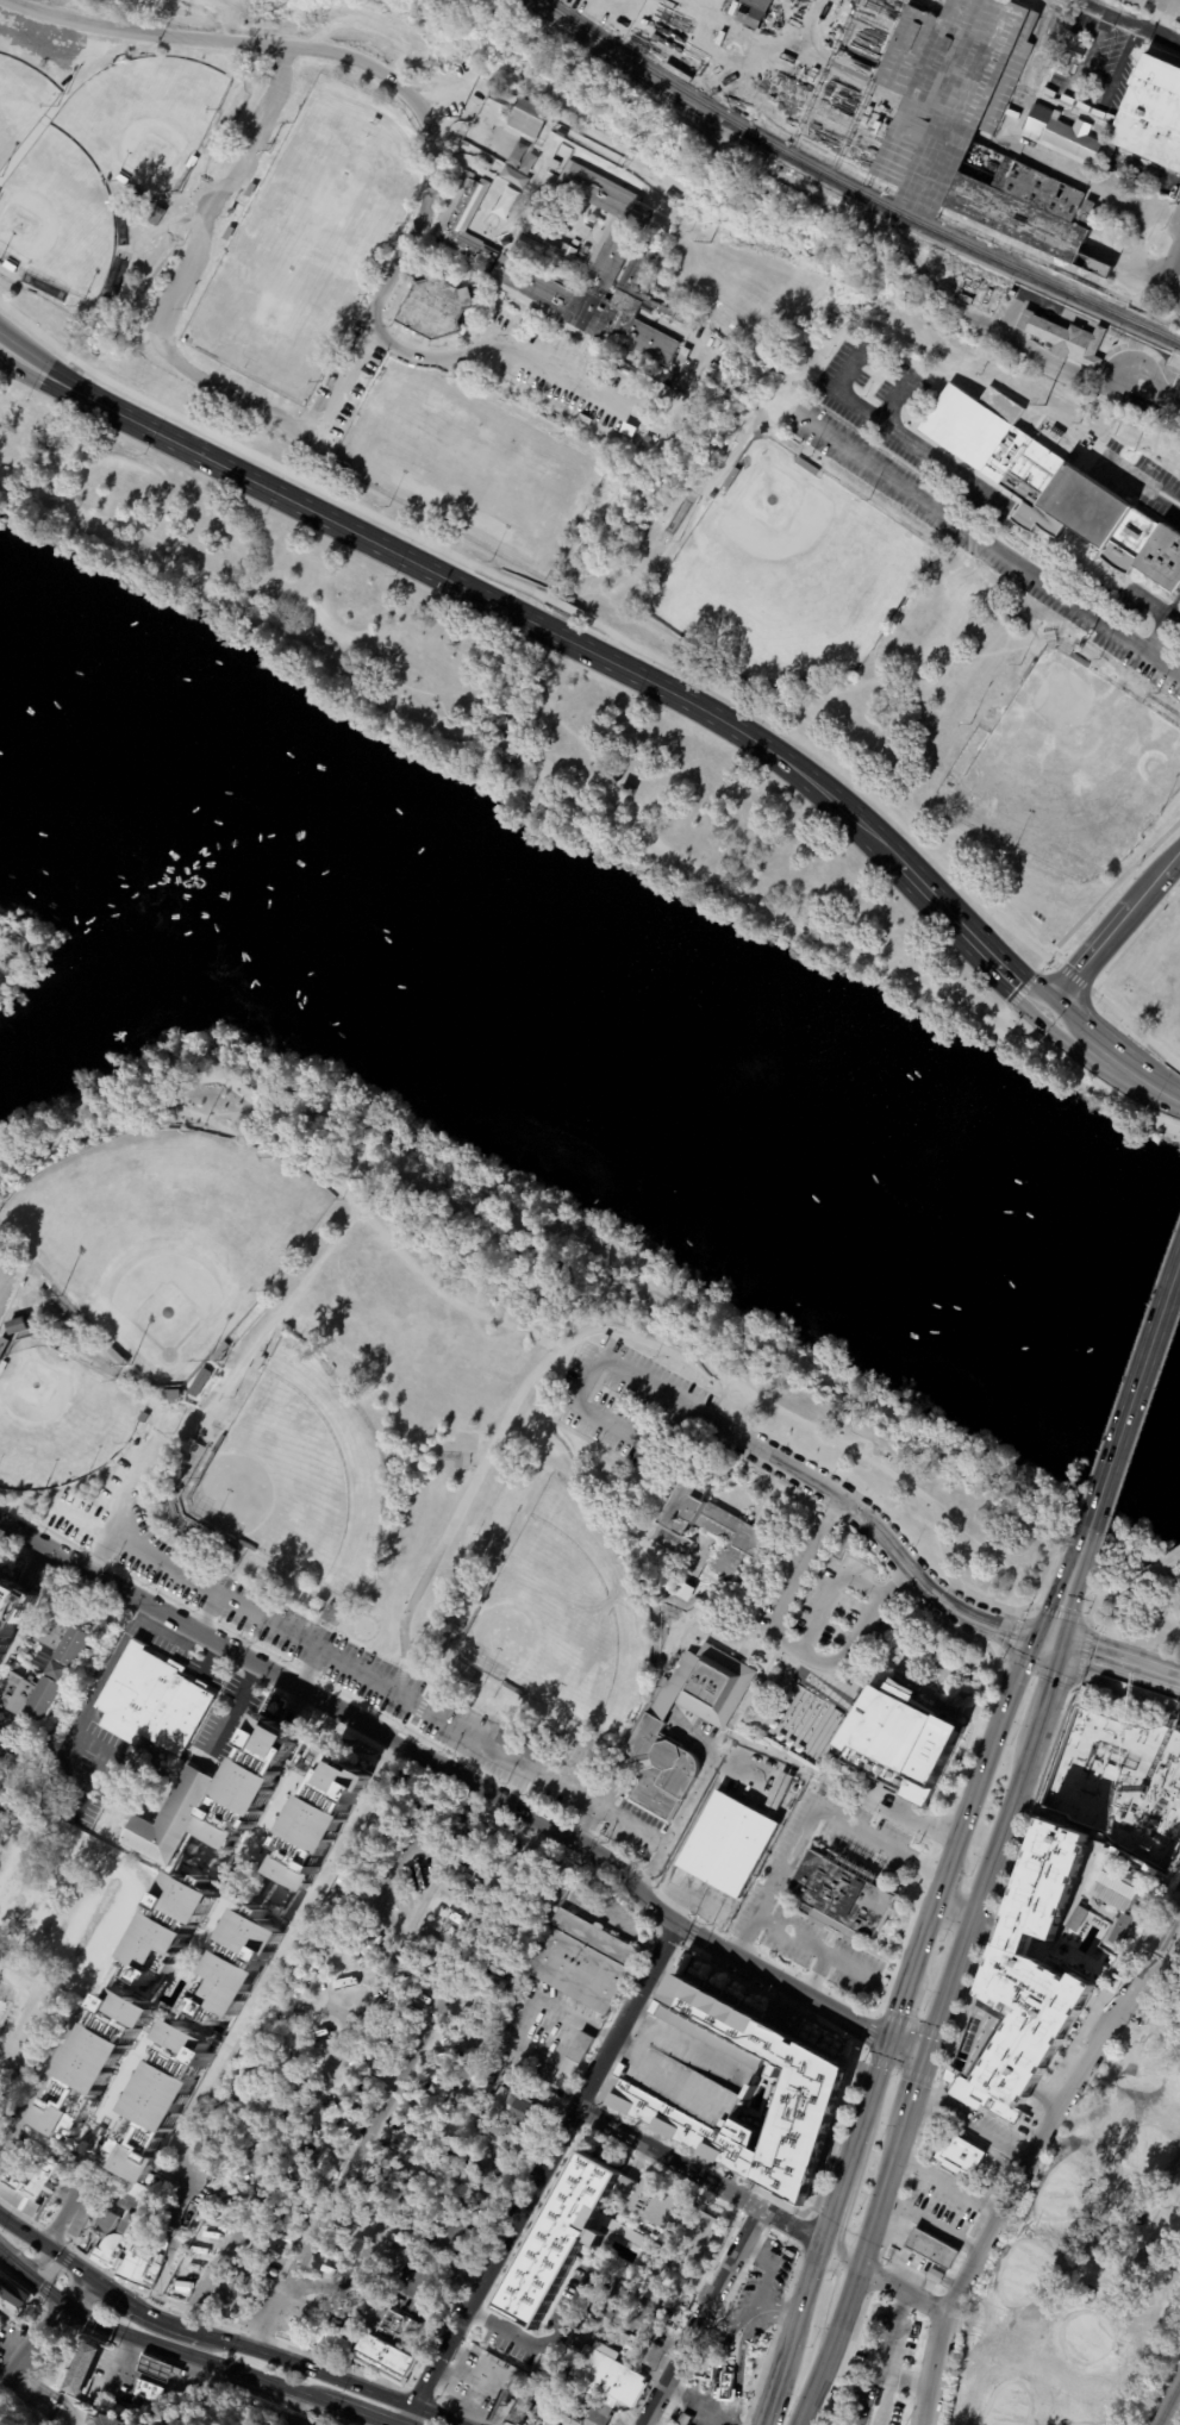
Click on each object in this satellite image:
building: (753, 13)
road: (1131, 20)
building: (857, 57)
building: (1070, 58)
building: (482, 76)
road: (394, 83)
road: (1092, 95)
park: (21, 104)
railway: (706, 117)
park: (142, 119)
building: (529, 119)
building: (558, 120)
building: (1124, 121)
building: (575, 125)
building: (973, 127)
building: (563, 133)
railway: (766, 149)
building: (193, 163)
building: (121, 180)
road: (1088, 181)
railway: (851, 186)
building: (251, 190)
building: (1091, 207)
building: (155, 215)
park: (56, 217)
building: (229, 233)
park: (304, 235)
building: (533, 235)
building: (504, 240)
building: (121, 242)
building: (575, 243)
road: (1134, 248)
building: (568, 256)
road: (1173, 263)
building: (489, 264)
building: (7, 267)
building: (426, 269)
road: (1023, 283)
railway: (1039, 289)
building: (1011, 292)
road: (1173, 292)
building: (435, 308)
road: (1084, 315)
road: (161, 324)
road: (15, 338)
building: (1068, 340)
road: (1149, 340)
road: (1120, 346)
road: (1032, 350)
road: (45, 365)
road: (17, 368)
road: (17, 370)
parking lot: (572, 379)
road: (62, 389)
road: (1155, 390)
parking lot: (1170, 405)
road: (868, 417)
building: (629, 430)
building: (760, 435)
road: (780, 439)
road: (266, 464)
park: (463, 464)
building: (807, 467)
parking lot: (1131, 475)
building: (730, 480)
road: (5, 482)
road: (1140, 482)
building: (1051, 486)
road: (23, 489)
park: (562, 492)
parking lot: (957, 498)
road: (310, 511)
road: (970, 535)
park: (785, 575)
road: (1174, 606)
road: (567, 607)
road: (573, 610)
road: (256, 617)
road: (549, 630)
road: (1156, 633)
road: (557, 636)
building: (1079, 662)
building: (1030, 671)
road: (816, 694)
road: (551, 714)
road: (535, 727)
road: (744, 731)
park: (1067, 737)
road: (495, 743)
road: (551, 758)
road: (837, 771)
building: (612, 775)
building: (625, 788)
road: (619, 801)
road: (514, 807)
road: (566, 811)
road: (1170, 865)
road: (700, 876)
road: (1155, 882)
road: (1105, 894)
road: (1142, 898)
road: (953, 918)
building: (11, 946)
road: (1128, 948)
road: (5, 950)
park: (15, 951)
road: (19, 955)
road: (1093, 955)
road: (30, 957)
road: (1074, 980)
road: (1030, 987)
road: (1023, 989)
traffic signals: (1053, 1004)
road: (1005, 1011)
road: (1032, 1017)
road: (1069, 1017)
traffic signals: (1036, 1020)
road: (1009, 1021)
road: (1135, 1030)
river: (585, 1038)
road: (1001, 1038)
road: (1093, 1050)
road: (189, 1060)
road: (179, 1074)
road: (200, 1074)
road: (1130, 1075)
road: (1165, 1096)
road: (1140, 1112)
road: (239, 1114)
road: (336, 1189)
park: (161, 1238)
road: (601, 1252)
building: (38, 1279)
road: (1176, 1282)
building: (44, 1287)
building: (64, 1304)
building: (17, 1326)
building: (48, 1337)
building: (2, 1345)
building: (52, 1351)
building: (220, 1351)
building: (117, 1358)
building: (2, 1367)
road: (538, 1374)
building: (200, 1382)
building: (171, 1396)
road: (716, 1399)
parking lot: (617, 1400)
road: (1130, 1412)
park: (56, 1417)
building: (143, 1417)
park: (481, 1435)
building: (187, 1448)
road: (850, 1454)
road: (772, 1460)
park: (294, 1475)
road: (21, 1500)
road: (642, 1500)
building: (706, 1529)
road: (855, 1531)
road: (1155, 1569)
road: (1176, 1579)
road: (893, 1582)
road: (1066, 1587)
park: (1136, 1587)
road: (1123, 1589)
road: (1169, 1600)
road: (1095, 1605)
building: (11, 1611)
road: (207, 1612)
road: (1020, 1613)
park: (563, 1615)
road: (1062, 1615)
building: (333, 1617)
road: (708, 1618)
road: (1170, 1623)
road: (1110, 1631)
road: (1129, 1635)
road: (1175, 1638)
traffic signals: (1045, 1645)
road: (408, 1649)
road: (1112, 1651)
parking lot: (327, 1652)
road: (906, 1655)
road: (114, 1656)
building: (65, 1662)
road: (836, 1662)
road: (788, 1664)
road: (311, 1669)
road: (811, 1671)
road: (798, 1673)
road: (1050, 1673)
road: (816, 1674)
road: (1101, 1675)
road: (808, 1676)
road: (367, 1677)
road: (820, 1677)
road: (813, 1679)
road: (826, 1680)
road: (825, 1681)
road: (818, 1682)
road: (1044, 1682)
road: (831, 1683)
road: (823, 1686)
road: (770, 1687)
road: (836, 1687)
building: (704, 1688)
road: (828, 1689)
road: (841, 1689)
road: (754, 1690)
road: (756, 1690)
road: (832, 1693)
road: (845, 1693)
road: (822, 1695)
road: (836, 1695)
road: (1172, 1696)
road: (929, 1698)
road: (842, 1699)
building: (156, 1704)
road: (850, 1705)
road: (762, 1706)
road: (1010, 1708)
road: (849, 1711)
road: (237, 1714)
building: (218, 1717)
road: (836, 1731)
road: (573, 1736)
building: (51, 1743)
building: (903, 1743)
building: (520, 1744)
road: (394, 1752)
road: (964, 1756)
road: (812, 1762)
road: (624, 1769)
road: (613, 1770)
building: (657, 1770)
building: (20, 1774)
building: (1122, 1779)
building: (1160, 1779)
road: (467, 1781)
building: (248, 1785)
road: (694, 1794)
road: (614, 1795)
building: (44, 1798)
road: (813, 1814)
building: (163, 1817)
road: (972, 1819)
building: (318, 1824)
road: (585, 1825)
building: (725, 1843)
road: (524, 1854)
building: (1118, 1855)
building: (356, 1863)
road: (928, 1873)
road: (949, 1881)
building: (1165, 1882)
road: (2, 1883)
road: (980, 1885)
road: (1004, 1886)
road: (1178, 1887)
building: (1112, 1890)
building: (399, 1895)
building: (839, 1896)
road: (956, 1908)
road: (606, 1917)
building: (1075, 1917)
building: (456, 1923)
building: (168, 1932)
road: (929, 1940)
road: (816, 1948)
road: (102, 1951)
road: (899, 1952)
road: (280, 1958)
building: (295, 1958)
building: (585, 1962)
parking lot: (1151, 1970)
building: (233, 1973)
road: (818, 1974)
building: (1029, 1974)
building: (342, 1983)
building: (493, 1983)
building: (1172, 2002)
road: (905, 2007)
road: (31, 2008)
road: (875, 2013)
road: (912, 2026)
road: (457, 2027)
road: (869, 2031)
building: (252, 2036)
traffic signals: (895, 2039)
road: (949, 2039)
traffic signals: (928, 2051)
road: (862, 2054)
building: (574, 2061)
building: (695, 2067)
parking garage: (695, 2067)
building: (96, 2069)
building: (292, 2069)
road: (899, 2069)
road: (317, 2070)
road: (917, 2083)
building: (810, 2087)
road: (878, 2088)
building: (160, 2102)
building: (516, 2107)
road: (973, 2124)
building: (507, 2136)
park: (1145, 2148)
road: (1035, 2151)
building: (959, 2156)
road: (549, 2167)
building: (368, 2168)
road: (853, 2168)
road: (706, 2174)
road: (166, 2176)
building: (26, 2181)
road: (949, 2183)
park: (1060, 2192)
road: (120, 2200)
road: (919, 2215)
building: (223, 2218)
road: (836, 2219)
building: (675, 2220)
building: (81, 2223)
building: (112, 2223)
building: (151, 2230)
road: (21, 2232)
road: (841, 2233)
building: (160, 2237)
building: (557, 2239)
road: (169, 2240)
building: (931, 2249)
road: (5, 2256)
park: (1087, 2256)
road: (21, 2257)
building: (130, 2258)
road: (899, 2258)
road: (65, 2262)
park: (1031, 2265)
road: (912, 2268)
road: (769, 2270)
road: (855, 2270)
traffic signals: (87, 2276)
building: (936, 2277)
road: (161, 2279)
building: (674, 2280)
road: (905, 2282)
road: (39, 2283)
building: (183, 2288)
road: (77, 2290)
building: (230, 2293)
building: (599, 2295)
building: (12, 2299)
road: (151, 2301)
traffic signals: (69, 2306)
building: (654, 2308)
road: (775, 2310)
road: (145, 2311)
road: (700, 2314)
road: (806, 2314)
building: (603, 2315)
building: (391, 2323)
park: (1084, 2336)
building: (332, 2342)
road: (112, 2343)
building: (630, 2346)
building: (476, 2352)
road: (884, 2354)
road: (192, 2355)
road: (35, 2356)
road: (456, 2357)
road: (133, 2358)
building: (383, 2358)
road: (718, 2360)
road: (132, 2362)
road: (154, 2364)
building: (151, 2367)
road: (311, 2368)
building: (80, 2369)
road: (150, 2371)
road: (739, 2371)
road: (171, 2374)
building: (607, 2375)
road: (170, 2377)
building: (498, 2377)
road: (146, 2379)
road: (201, 2380)
gas station: (135, 2381)
road: (450, 2382)
building: (728, 2388)
building: (145, 2392)
park: (1166, 2398)
building: (131, 2401)
road: (43, 2402)
road: (698, 2402)
road: (776, 2406)
park: (1007, 2406)
railway: (1169, 2406)
road: (293, 2408)
road: (463, 2408)
building: (519, 2410)
road: (354, 2412)
road: (406, 2414)
road: (433, 2414)
building: (585, 2415)
building: (101, 2420)
building: (685, 2420)
building: (40, 2423)
building: (674, 2424)

